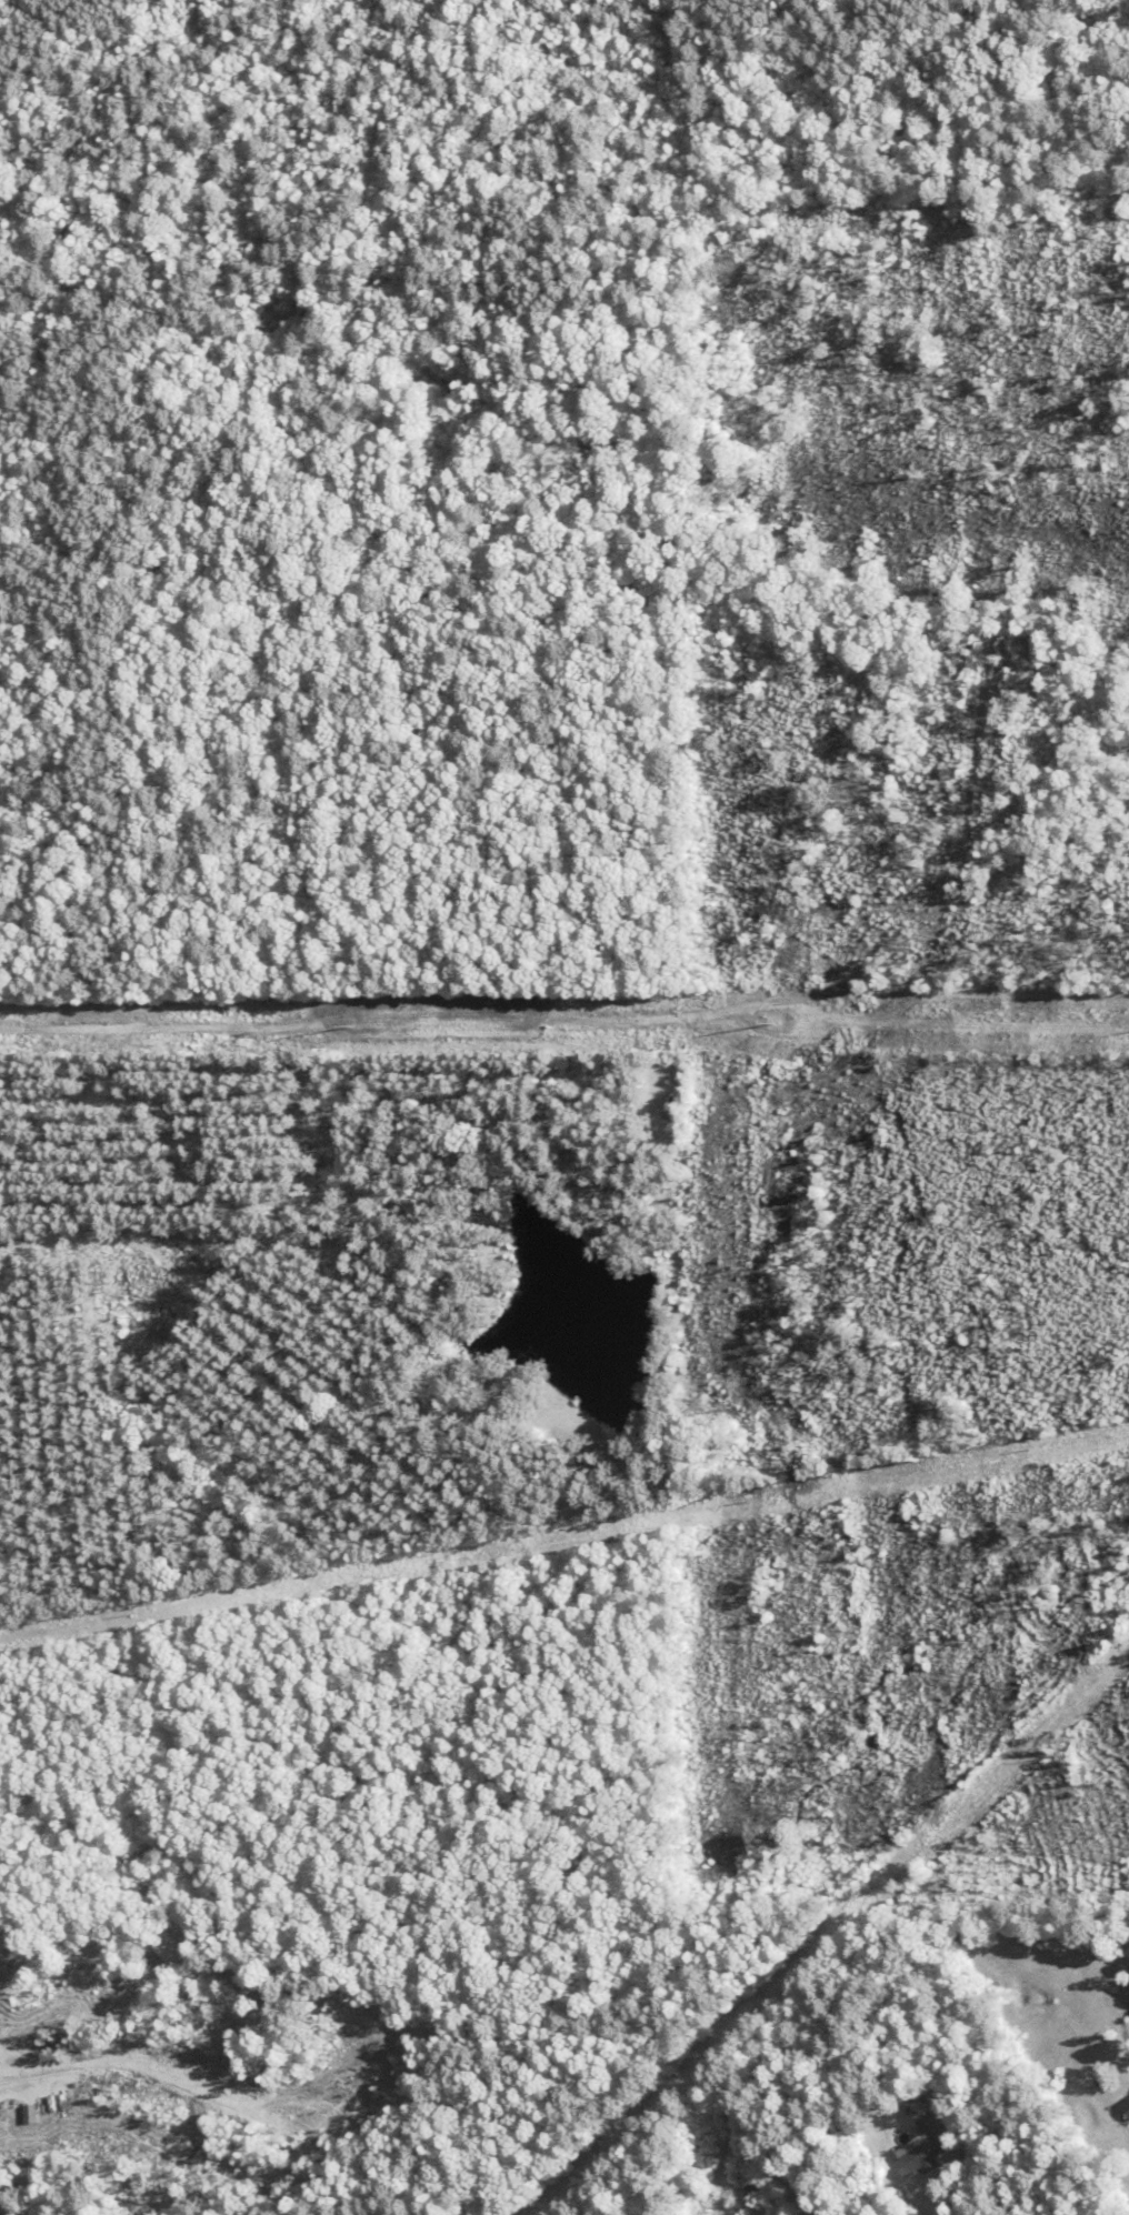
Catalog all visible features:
building: (680, 1103)
building: (1127, 2105)
building: (925, 2155)

